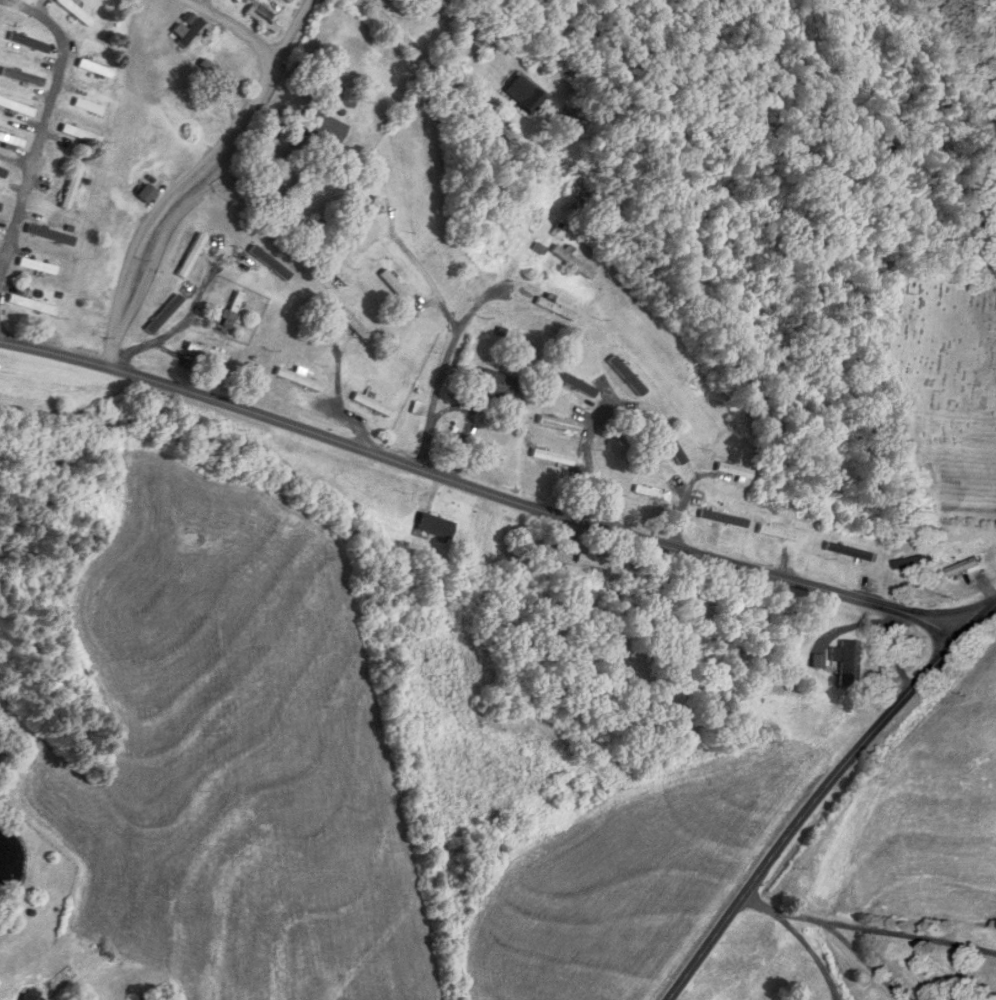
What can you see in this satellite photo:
building: (75, 10)
building: (188, 31)
road: (290, 31)
building: (27, 48)
building: (95, 68)
building: (219, 74)
road: (448, 76)
building: (24, 78)
building: (524, 94)
building: (88, 106)
building: (16, 107)
building: (323, 126)
road: (42, 127)
building: (81, 134)
building: (11, 140)
road: (200, 159)
building: (70, 192)
building: (147, 194)
building: (369, 217)
building: (192, 255)
building: (573, 263)
building: (38, 266)
building: (338, 273)
building: (396, 287)
building: (31, 305)
building: (232, 309)
building: (354, 324)
road: (177, 327)
road: (449, 343)
building: (298, 379)
park: (940, 381)
building: (496, 385)
building: (372, 404)
road: (457, 407)
building: (559, 423)
building: (552, 457)
building: (733, 470)
road: (598, 487)
building: (647, 491)
road: (486, 492)
building: (435, 525)
building: (778, 532)
building: (851, 551)
building: (593, 561)
building: (964, 567)
building: (847, 659)
road: (822, 798)
road: (868, 928)
road: (809, 949)
road: (864, 961)
building: (30, 997)

